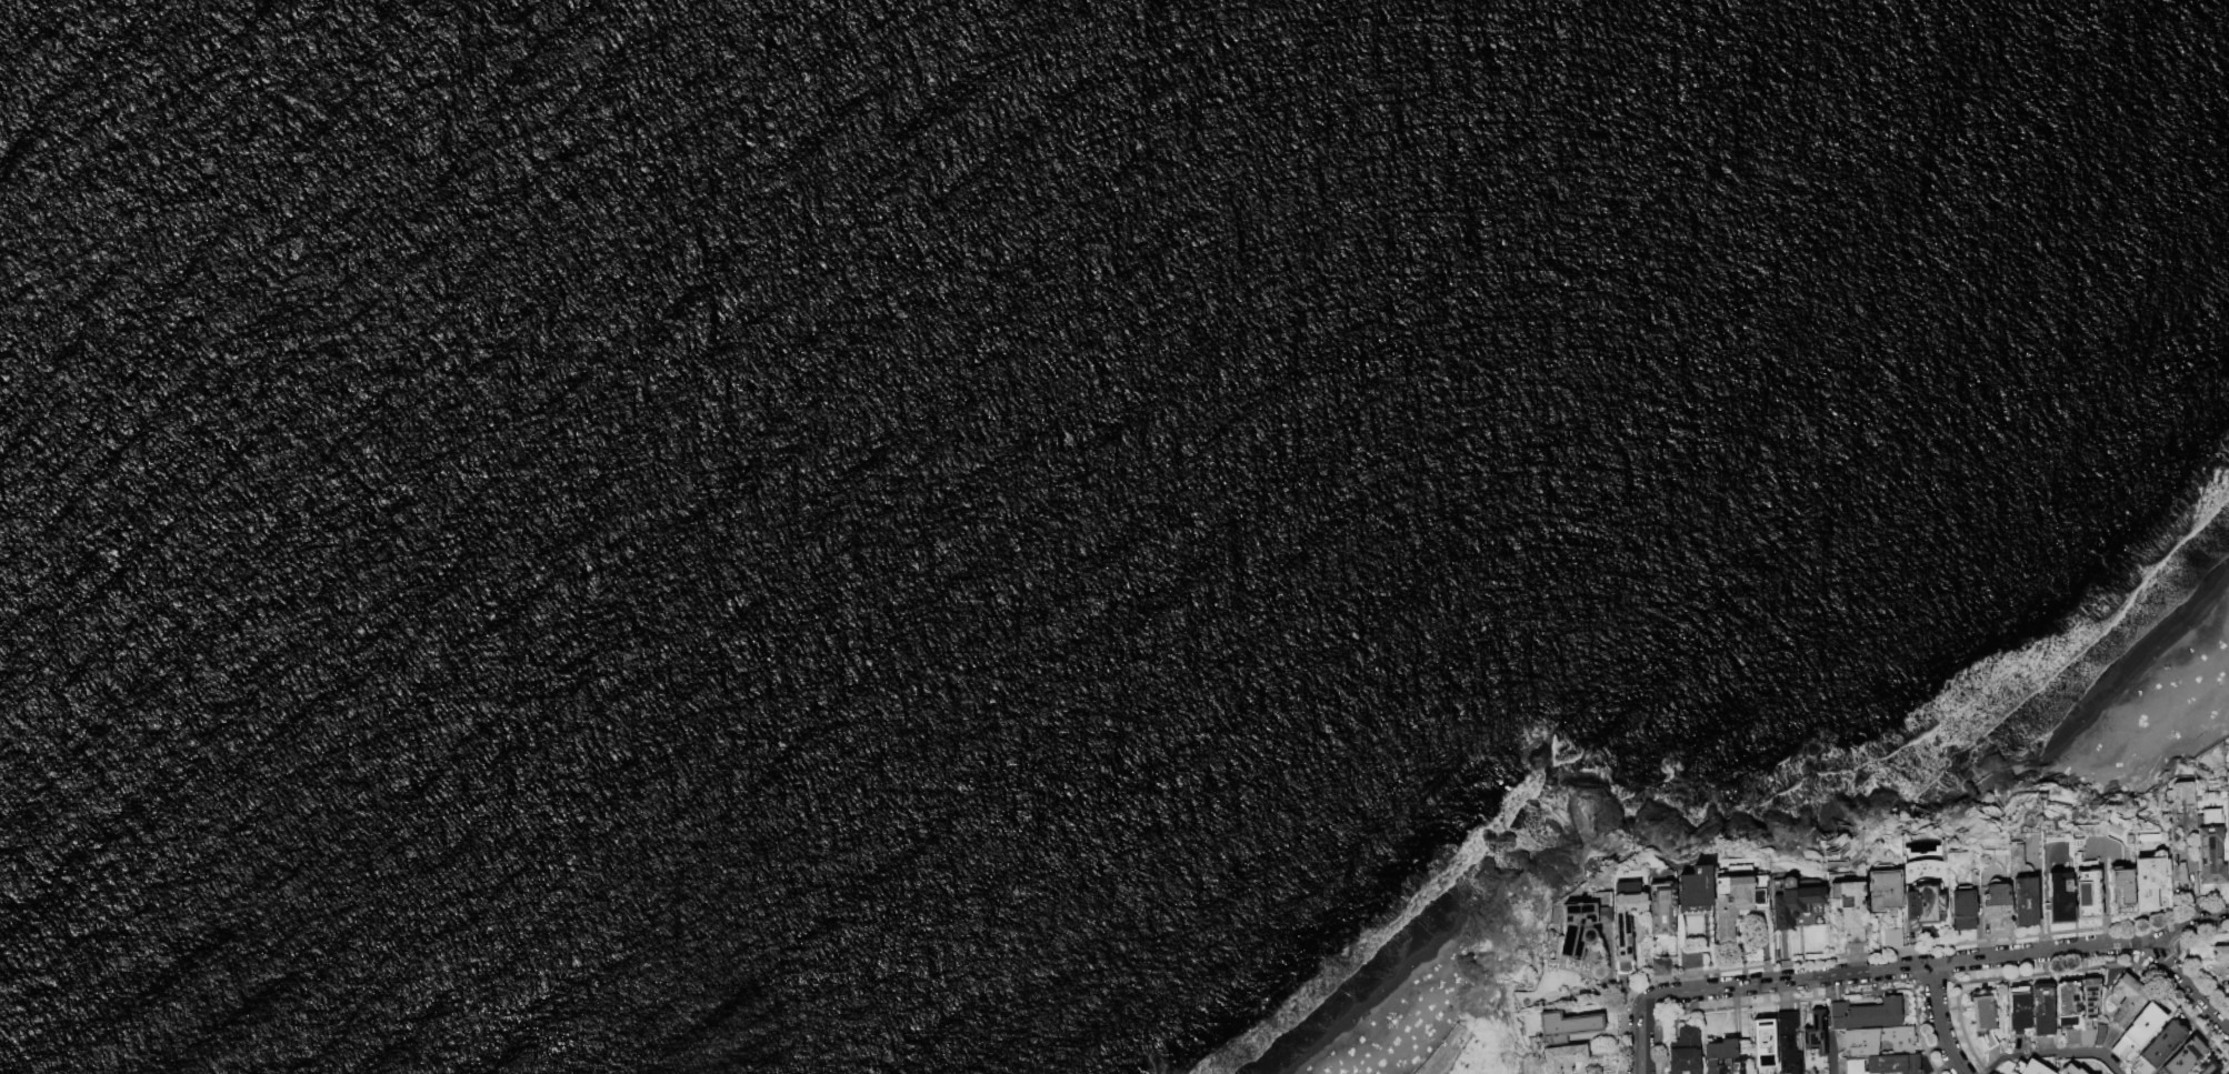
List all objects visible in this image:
building: (2181, 793)
building: (2228, 824)
building: (2210, 850)
building: (1917, 873)
building: (2150, 879)
building: (1885, 890)
building: (2121, 892)
building: (2088, 893)
building: (1698, 897)
building: (1738, 897)
building: (2060, 897)
building: (1792, 901)
building: (2025, 902)
building: (1965, 904)
building: (1997, 904)
building: (1923, 906)
building: (1662, 907)
building: (1851, 909)
building: (1627, 919)
building: (1583, 925)
building: (1893, 939)
building: (2220, 953)
building: (1692, 957)
building: (1662, 966)
road: (1903, 966)
road: (2186, 984)
building: (2128, 1000)
park: (1445, 1002)
building: (2068, 1005)
building: (2019, 1010)
building: (2043, 1010)
building: (1865, 1014)
building: (2086, 1014)
building: (1982, 1017)
road: (1938, 1022)
building: (1569, 1025)
building: (2140, 1030)
building: (2100, 1034)
building: (1815, 1035)
building: (1762, 1040)
building: (1787, 1044)
building: (1859, 1045)
building: (2160, 1047)
building: (1441, 1050)
building: (1685, 1052)
road: (1831, 1052)
road: (2052, 1052)
building: (1722, 1057)
building: (2185, 1057)
building: (1565, 1058)
building: (1883, 1064)
building: (2208, 1066)
building: (2028, 1067)
building: (2070, 1071)
building: (2228, 1073)

